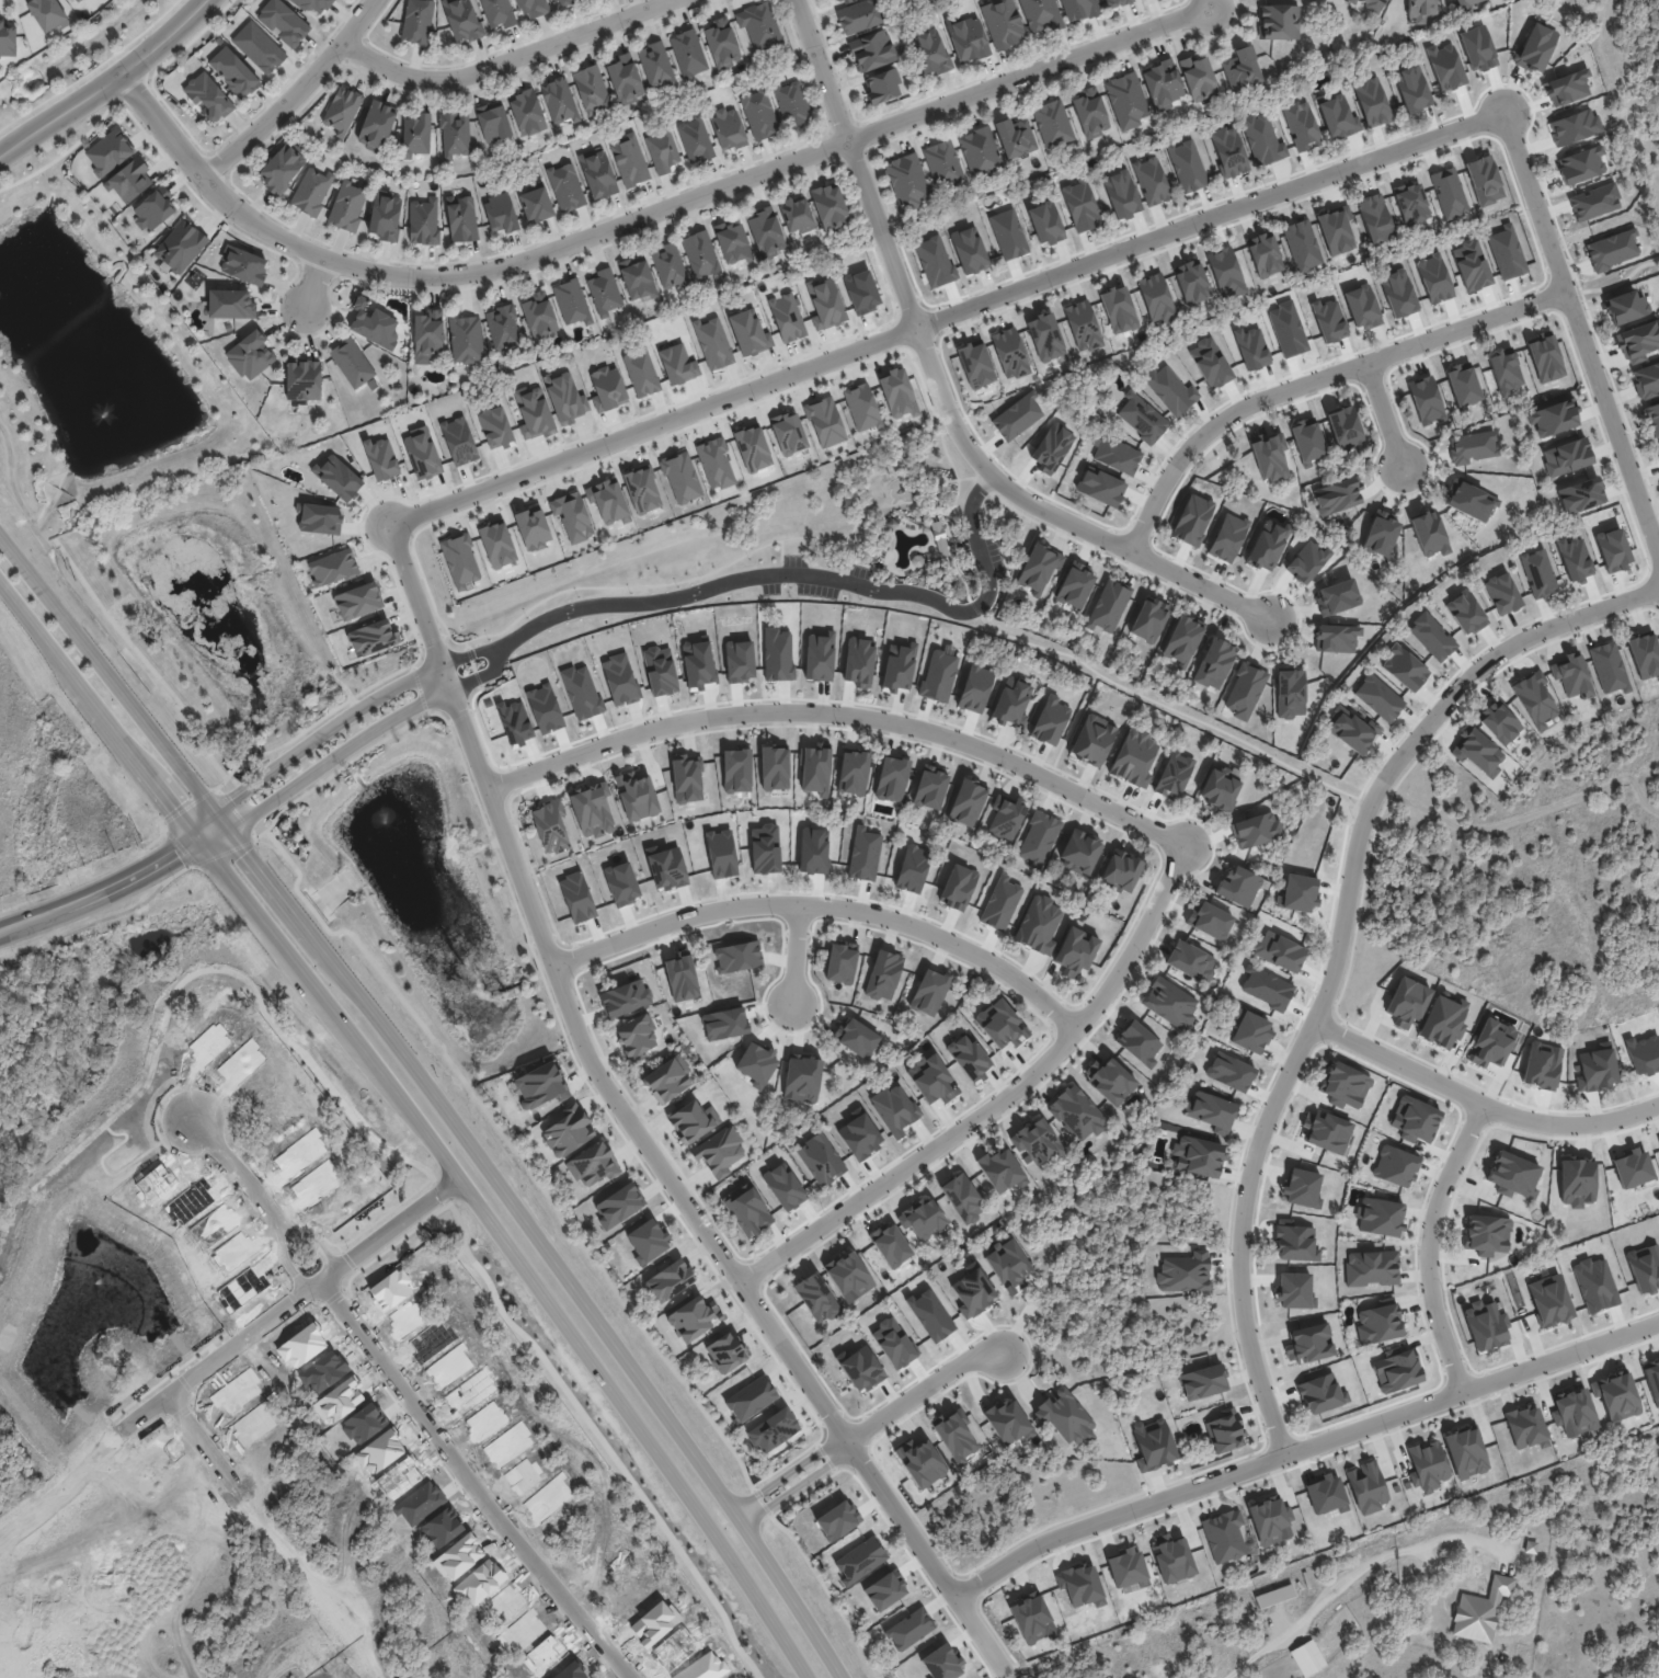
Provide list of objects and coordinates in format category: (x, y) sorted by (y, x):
building: (77, 0)
building: (80, 0)
building: (552, 0)
building: (835, 0)
building: (843, 0)
building: (570, 2)
building: (1115, 2)
road: (1209, 3)
building: (317, 4)
building: (1369, 4)
building: (1465, 4)
building: (535, 7)
building: (1078, 9)
building: (1421, 10)
building: (501, 12)
building: (48, 14)
building: (1045, 14)
building: (865, 15)
building: (465, 19)
building: (420, 21)
building: (286, 22)
building: (1282, 22)
building: (1006, 23)
building: (763, 26)
building: (8, 39)
building: (972, 39)
building: (725, 44)
building: (258, 47)
building: (1535, 47)
building: (1477, 48)
building: (877, 50)
building: (934, 52)
building: (689, 55)
road: (507, 60)
building: (659, 65)
building: (1444, 66)
building: (1246, 69)
building: (236, 71)
building: (1202, 78)
building: (628, 79)
road: (111, 83)
building: (1167, 85)
building: (884, 87)
building: (1411, 88)
building: (1567, 88)
building: (594, 89)
road: (1618, 89)
road: (294, 94)
building: (210, 96)
building: (561, 100)
building: (1130, 101)
building: (1371, 101)
building: (794, 103)
park: (1622, 103)
road: (1644, 109)
building: (344, 110)
building: (531, 112)
building: (1094, 113)
building: (763, 114)
building: (1337, 116)
building: (289, 122)
building: (1055, 124)
building: (1301, 125)
building: (379, 126)
building: (493, 126)
building: (1574, 126)
building: (726, 129)
building: (456, 134)
building: (419, 135)
building: (1018, 137)
building: (1262, 138)
building: (698, 139)
building: (664, 150)
building: (108, 151)
building: (1228, 151)
building: (984, 152)
building: (629, 162)
building: (947, 164)
building: (1187, 164)
building: (1581, 164)
building: (284, 168)
building: (600, 173)
building: (129, 180)
building: (1151, 180)
building: (1484, 180)
building: (911, 181)
building: (568, 187)
building: (313, 191)
building: (1449, 192)
building: (1121, 194)
building: (1593, 202)
building: (1411, 203)
building: (538, 204)
building: (350, 206)
building: (1080, 206)
building: (152, 208)
building: (832, 208)
building: (500, 213)
building: (799, 215)
building: (388, 216)
road: (642, 216)
building: (1375, 218)
building: (462, 219)
building: (425, 222)
building: (1045, 222)
building: (1336, 229)
building: (769, 232)
building: (1008, 233)
building: (735, 243)
building: (1302, 244)
building: (180, 246)
building: (1612, 249)
building: (969, 250)
building: (1507, 252)
building: (703, 254)
building: (1263, 254)
building: (934, 261)
building: (1471, 265)
building: (247, 266)
building: (672, 266)
building: (1225, 273)
building: (1434, 278)
building: (640, 279)
road: (314, 282)
building: (1191, 282)
road: (1614, 284)
building: (607, 292)
building: (1398, 293)
building: (1155, 297)
building: (574, 303)
building: (825, 303)
building: (230, 304)
building: (1361, 307)
building: (1626, 307)
building: (1118, 309)
building: (542, 317)
building: (787, 317)
road: (942, 317)
building: (1328, 320)
building: (373, 323)
building: (1083, 326)
building: (505, 328)
building: (748, 333)
building: (431, 335)
building: (1045, 336)
road: (1578, 338)
building: (469, 340)
building: (1638, 341)
building: (712, 343)
building: (1251, 347)
building: (1009, 353)
building: (252, 356)
building: (1545, 357)
building: (1210, 362)
building: (354, 364)
building: (677, 364)
building: (975, 365)
building: (1504, 370)
building: (641, 372)
building: (1646, 379)
building: (305, 380)
road: (1313, 380)
building: (1463, 385)
building: (607, 388)
road: (937, 389)
building: (1169, 389)
building: (897, 393)
building: (565, 400)
building: (1426, 400)
building: (861, 407)
building: (533, 412)
road: (1382, 415)
building: (1016, 416)
building: (1141, 416)
building: (1553, 418)
building: (1652, 418)
building: (825, 422)
building: (495, 427)
building: (1345, 429)
building: (788, 433)
building: (458, 441)
building: (1307, 441)
building: (1472, 446)
building: (1052, 447)
building: (752, 448)
building: (1658, 448)
building: (421, 453)
building: (1117, 455)
building: (1269, 456)
building: (1566, 456)
building: (380, 458)
building: (714, 463)
building: (337, 477)
building: (680, 477)
building: (1100, 487)
building: (641, 489)
building: (1337, 495)
building: (1580, 495)
building: (608, 500)
building: (1469, 501)
building: (572, 516)
building: (319, 518)
building: (1192, 520)
building: (533, 528)
building: (1429, 533)
building: (1381, 534)
building: (1227, 537)
building: (496, 544)
building: (1267, 545)
building: (1612, 549)
building: (1574, 559)
building: (459, 560)
building: (1306, 560)
building: (1038, 567)
building: (332, 568)
road: (806, 571)
building: (1537, 573)
building: (1075, 585)
building: (1501, 593)
building: (1336, 595)
building: (357, 601)
building: (1108, 605)
building: (1465, 613)
building: (1148, 619)
building: (1431, 636)
building: (373, 637)
building: (1336, 638)
building: (1182, 639)
building: (777, 653)
building: (1644, 654)
building: (819, 657)
building: (739, 661)
building: (859, 661)
building: (1214, 663)
building: (698, 664)
building: (899, 667)
building: (1404, 667)
building: (1609, 667)
road: (110, 671)
building: (660, 671)
building: (938, 675)
building: (1571, 675)
building: (619, 680)
building: (975, 688)
building: (1245, 690)
building: (581, 692)
building: (1290, 693)
building: (1377, 697)
building: (1535, 698)
building: (1010, 704)
road: (351, 709)
building: (545, 709)
road: (843, 714)
building: (1050, 720)
building: (1499, 721)
building: (1352, 731)
road: (366, 733)
building: (1092, 740)
building: (1477, 751)
building: (1134, 757)
building: (775, 767)
building: (815, 768)
building: (736, 770)
building: (853, 772)
building: (1174, 775)
building: (686, 778)
building: (892, 778)
building: (930, 787)
building: (1220, 788)
building: (636, 796)
building: (966, 802)
building: (592, 810)
building: (1005, 817)
building: (550, 826)
building: (1255, 829)
building: (1038, 838)
building: (1080, 852)
building: (863, 854)
building: (666, 868)
building: (1120, 870)
building: (621, 883)
road: (117, 884)
building: (1238, 886)
building: (958, 887)
building: (1297, 893)
building: (576, 897)
building: (1000, 902)
road: (823, 906)
building: (1210, 920)
building: (755, 922)
building: (1038, 923)
road: (791, 951)
building: (1076, 951)
building: (1279, 951)
road: (1339, 951)
building: (737, 957)
building: (1190, 961)
building: (840, 963)
building: (883, 974)
building: (682, 978)
building: (1266, 988)
building: (929, 992)
building: (625, 998)
building: (1169, 1002)
building: (1407, 1002)
building: (1443, 1019)
building: (724, 1024)
building: (1004, 1026)
building: (1250, 1032)
building: (636, 1037)
building: (856, 1037)
building: (1139, 1042)
building: (1491, 1042)
building: (969, 1057)
building: (756, 1064)
building: (1542, 1065)
building: (1595, 1070)
building: (1229, 1072)
building: (667, 1078)
building: (802, 1078)
building: (1109, 1080)
building: (934, 1081)
building: (1343, 1085)
building: (539, 1086)
road: (994, 1101)
road: (1478, 1103)
building: (894, 1109)
building: (1211, 1110)
building: (1076, 1112)
building: (1415, 1119)
building: (693, 1120)
road: (417, 1122)
building: (567, 1131)
road: (630, 1131)
building: (1326, 1131)
building: (859, 1135)
building: (1658, 1140)
building: (1037, 1141)
building: (719, 1152)
building: (1198, 1155)
building: (820, 1158)
road: (241, 1162)
building: (593, 1164)
building: (1395, 1166)
building: (1631, 1168)
building: (1002, 1169)
building: (1513, 1175)
building: (1576, 1180)
building: (783, 1186)
building: (1302, 1187)
building: (962, 1198)
building: (618, 1205)
building: (746, 1210)
building: (1380, 1217)
building: (923, 1219)
road: (312, 1234)
building: (1486, 1234)
road: (539, 1240)
building: (648, 1241)
building: (1294, 1243)
road: (1427, 1244)
building: (890, 1245)
road: (287, 1252)
building: (1008, 1265)
building: (1371, 1267)
building: (1644, 1267)
building: (1185, 1271)
building: (849, 1276)
building: (668, 1280)
building: (1594, 1285)
building: (1294, 1290)
building: (973, 1292)
building: (815, 1297)
building: (1549, 1300)
building: (930, 1314)
building: (694, 1319)
building: (1378, 1324)
building: (1486, 1325)
building: (893, 1343)
building: (1309, 1343)
road: (220, 1345)
building: (724, 1352)
building: (861, 1369)
building: (1396, 1370)
building: (1652, 1379)
building: (1203, 1381)
building: (1320, 1393)
building: (1615, 1394)
building: (751, 1399)
building: (1574, 1413)
building: (1065, 1417)
building: (1008, 1422)
building: (1525, 1426)
building: (773, 1429)
road: (862, 1430)
building: (1224, 1430)
building: (956, 1435)
building: (1153, 1443)
road: (1297, 1449)
building: (1465, 1451)
building: (919, 1462)
building: (1427, 1466)
road: (476, 1479)
building: (1366, 1487)
building: (837, 1520)
building: (1270, 1520)
road: (273, 1532)
building: (1224, 1536)
building: (1533, 1545)
building: (1171, 1557)
building: (859, 1560)
building: (1128, 1567)
road: (1362, 1578)
building: (1080, 1585)
building: (885, 1589)
building: (1279, 1595)
building: (1485, 1610)
road: (206, 1618)
building: (1031, 1618)
building: (909, 1629)
building: (1312, 1657)
building: (942, 1663)
building: (458, 1676)

